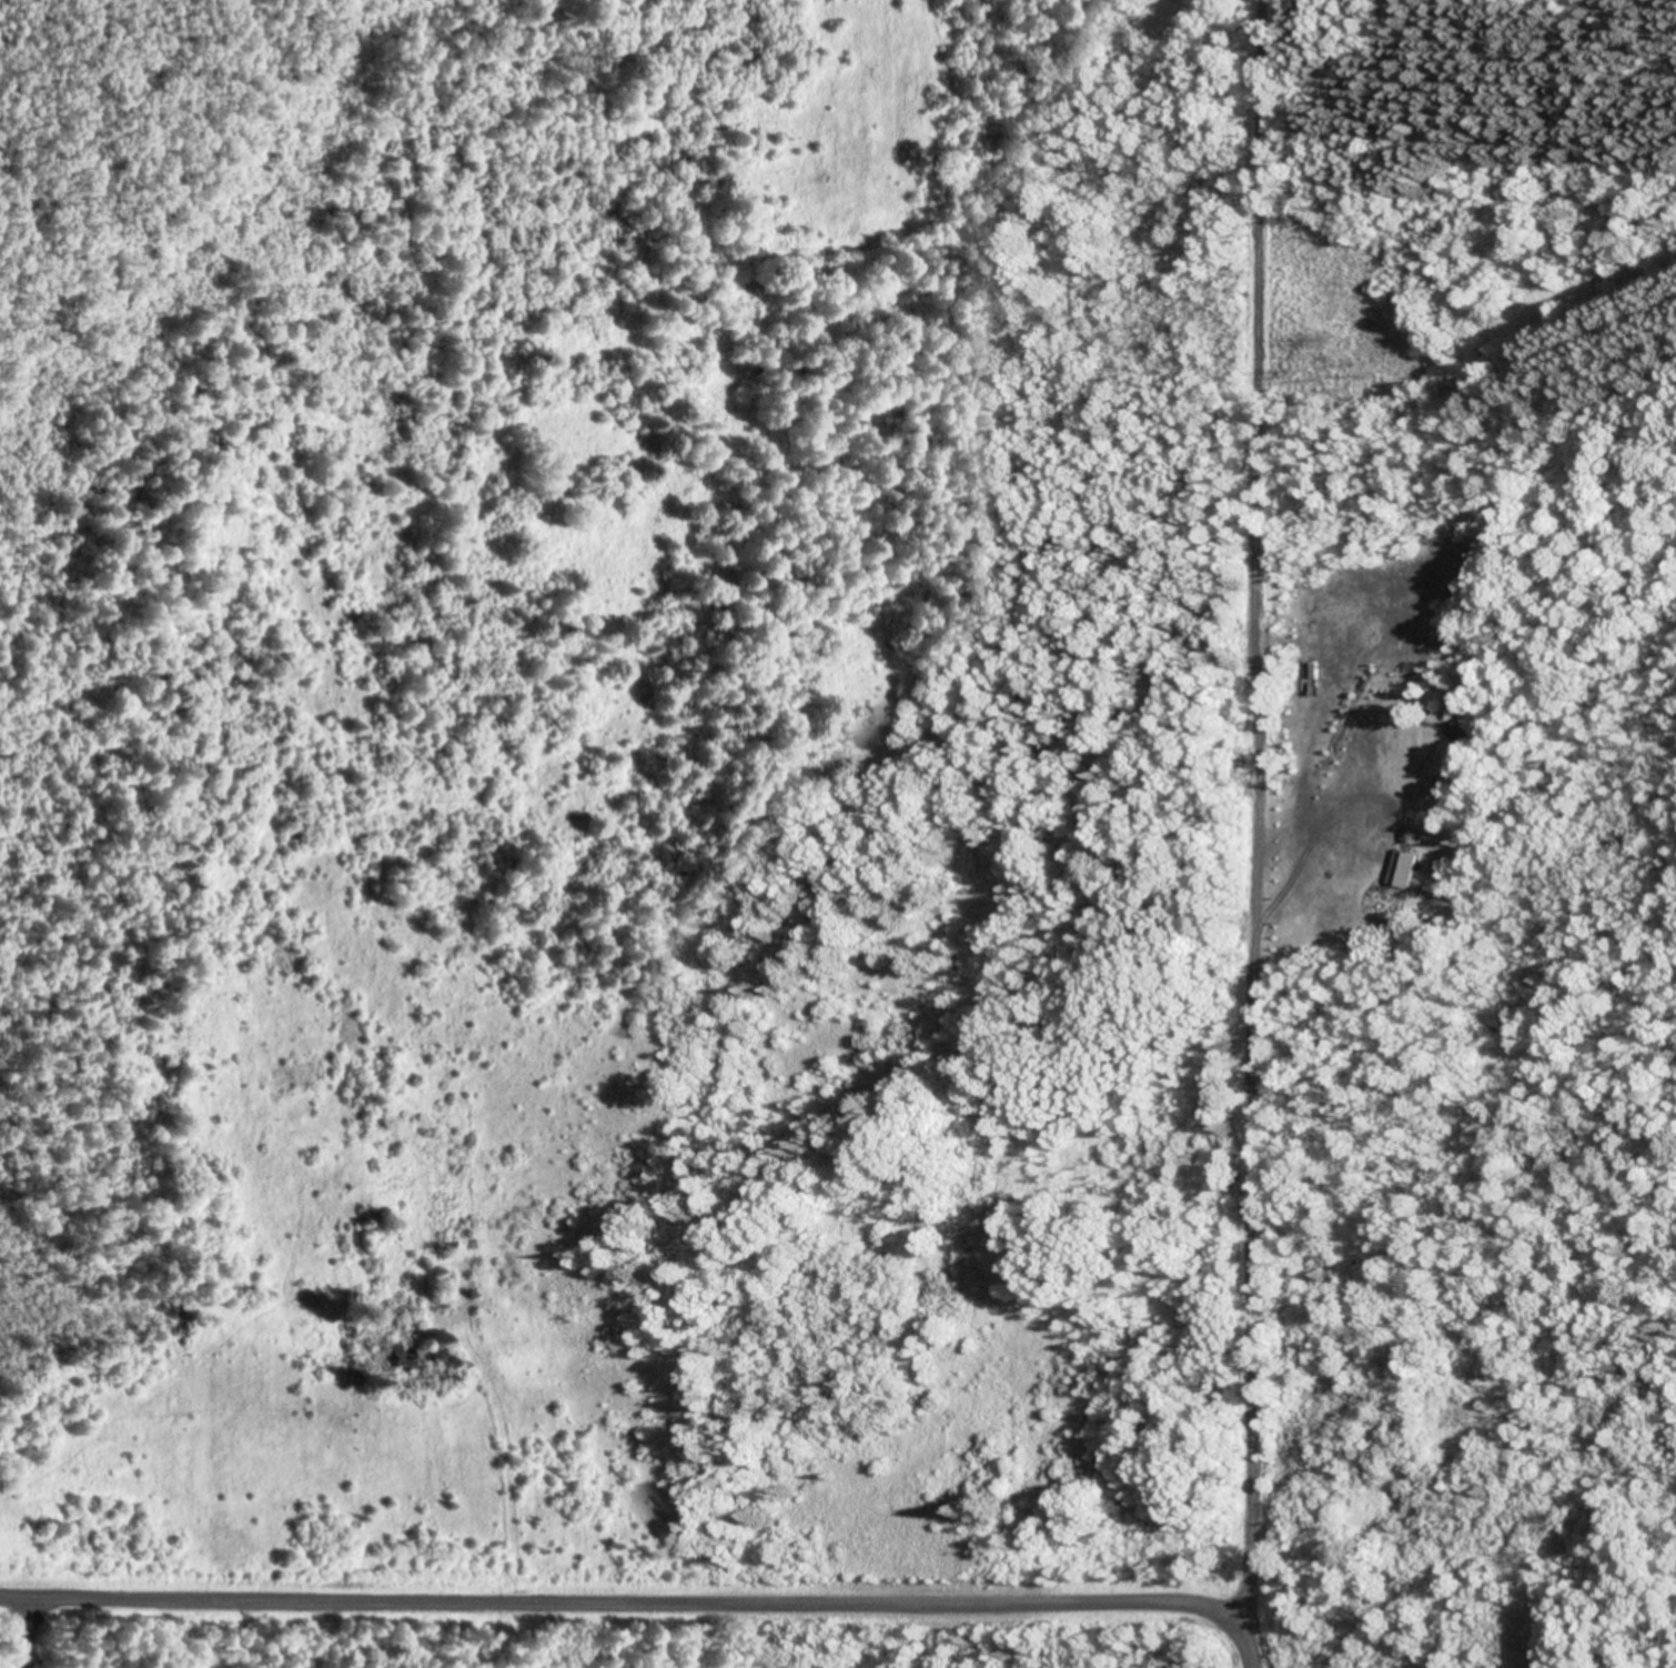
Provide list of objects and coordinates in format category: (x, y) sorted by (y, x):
road: (1246, 793)
building: (1402, 864)
building: (407, 1355)
road: (615, 1580)
road: (1256, 1625)

